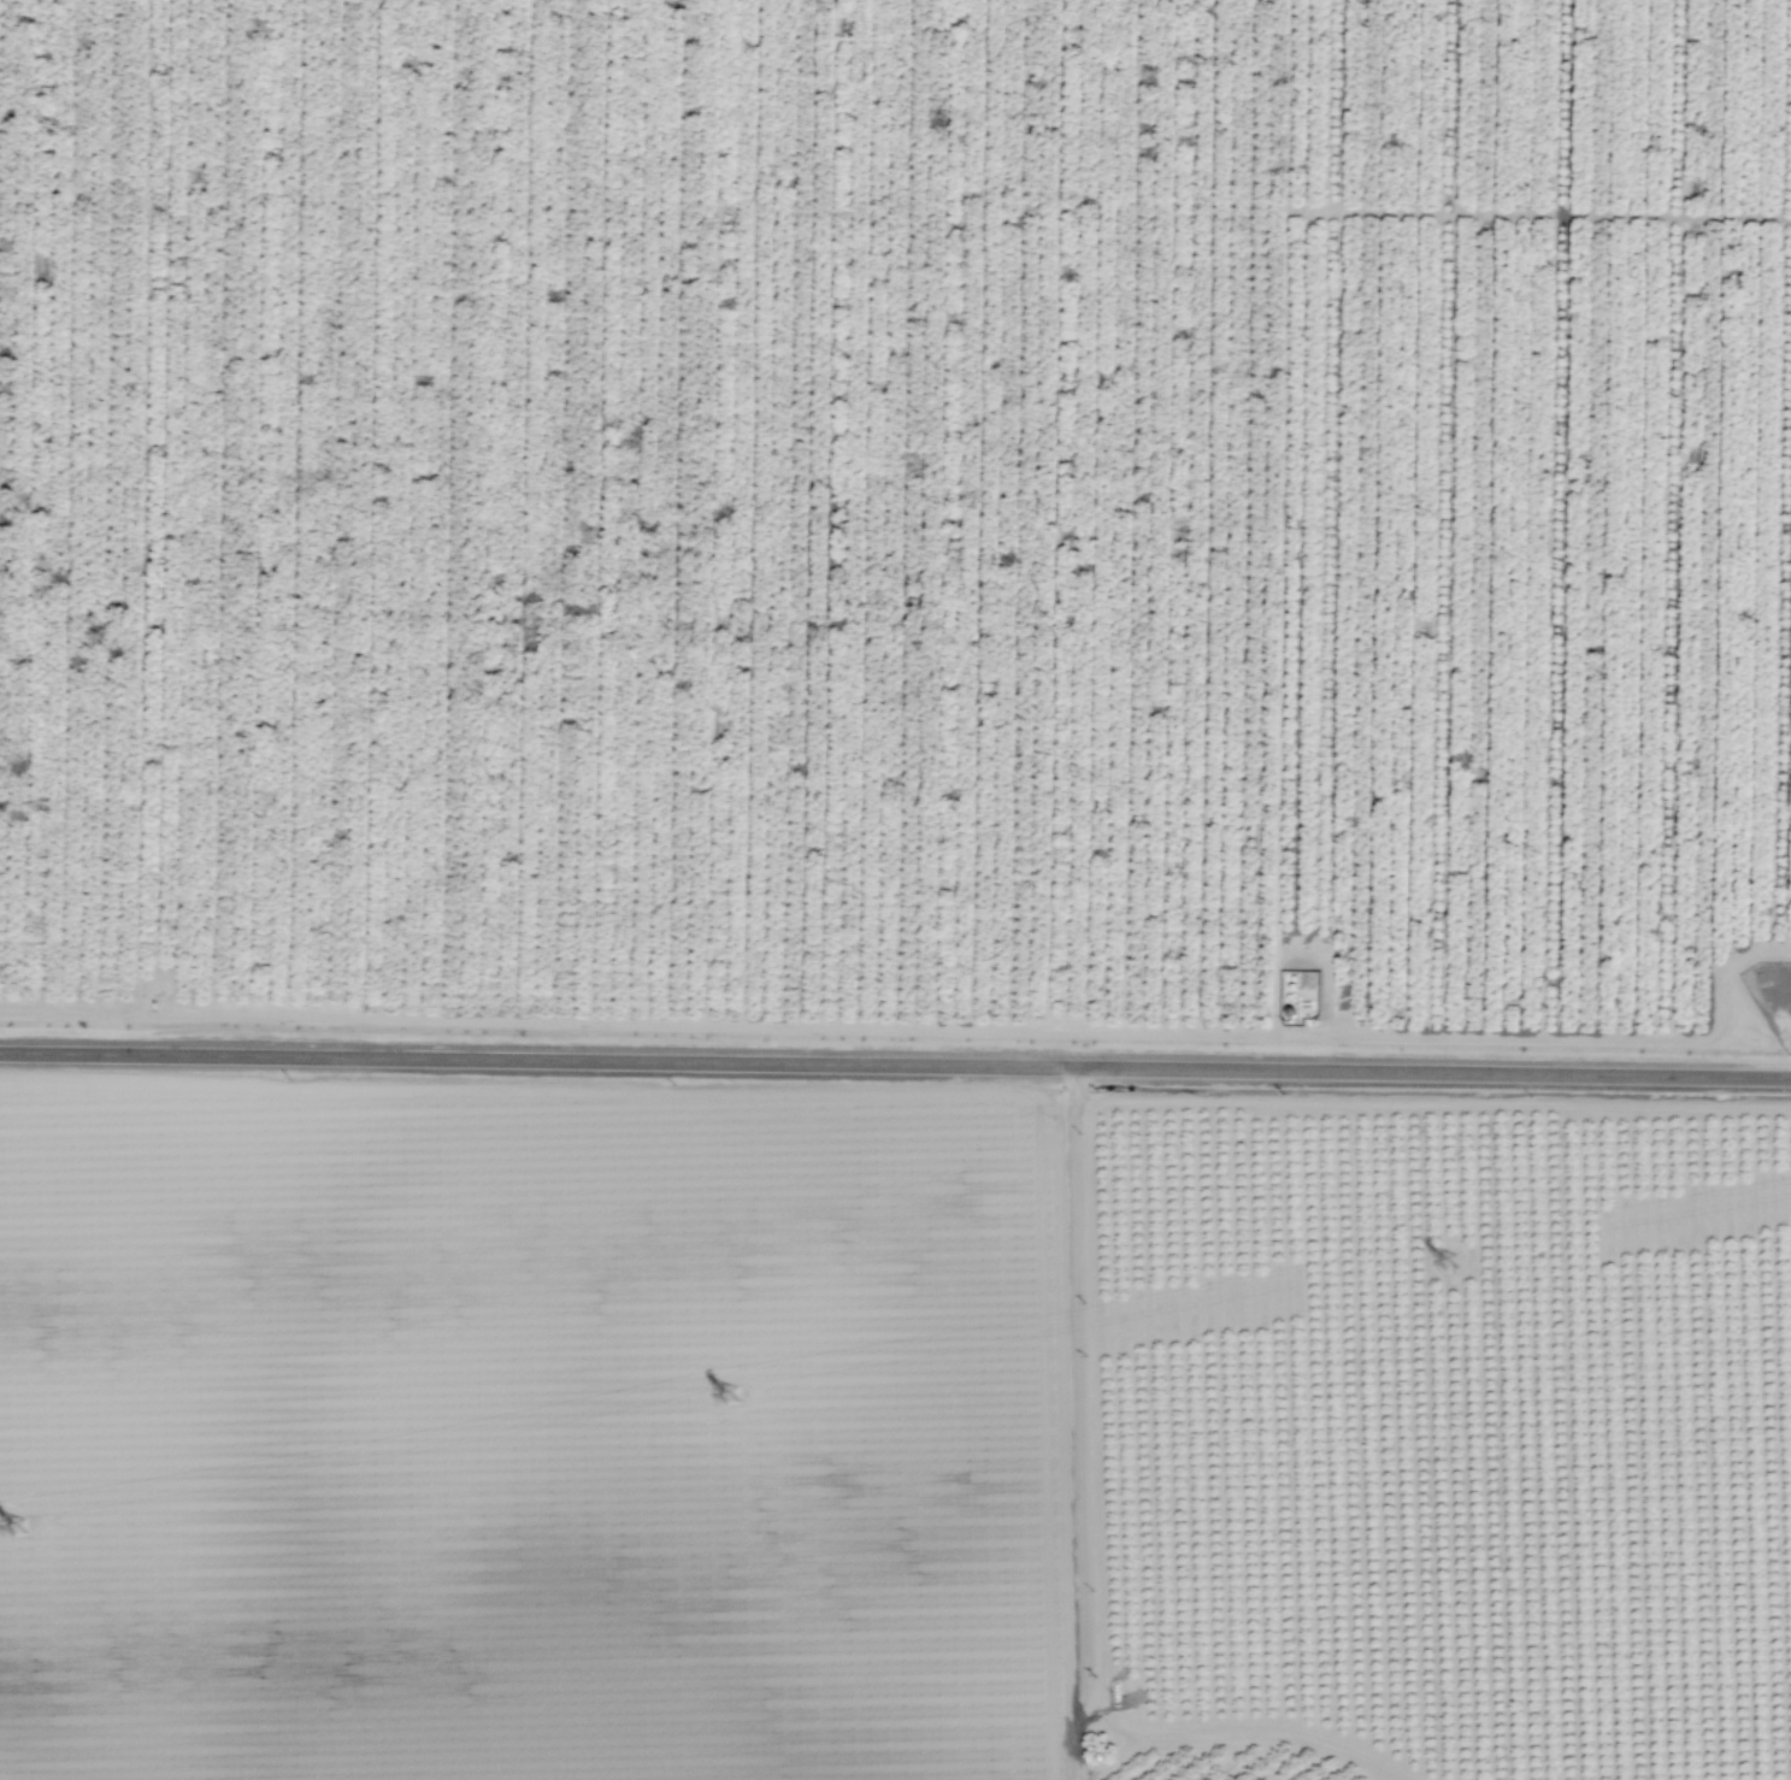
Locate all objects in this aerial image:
road: (1684, 107)
road: (1545, 213)
road: (1451, 519)
road: (1561, 519)
road: (1677, 629)
road: (1297, 635)
road: (1787, 674)
road: (927, 1030)
road: (895, 1063)
road: (1431, 1104)
power tower: (1443, 1266)
power tower: (730, 1403)
road: (1077, 1420)
road: (538, 1499)
power tower: (23, 1528)
road: (1249, 1731)

